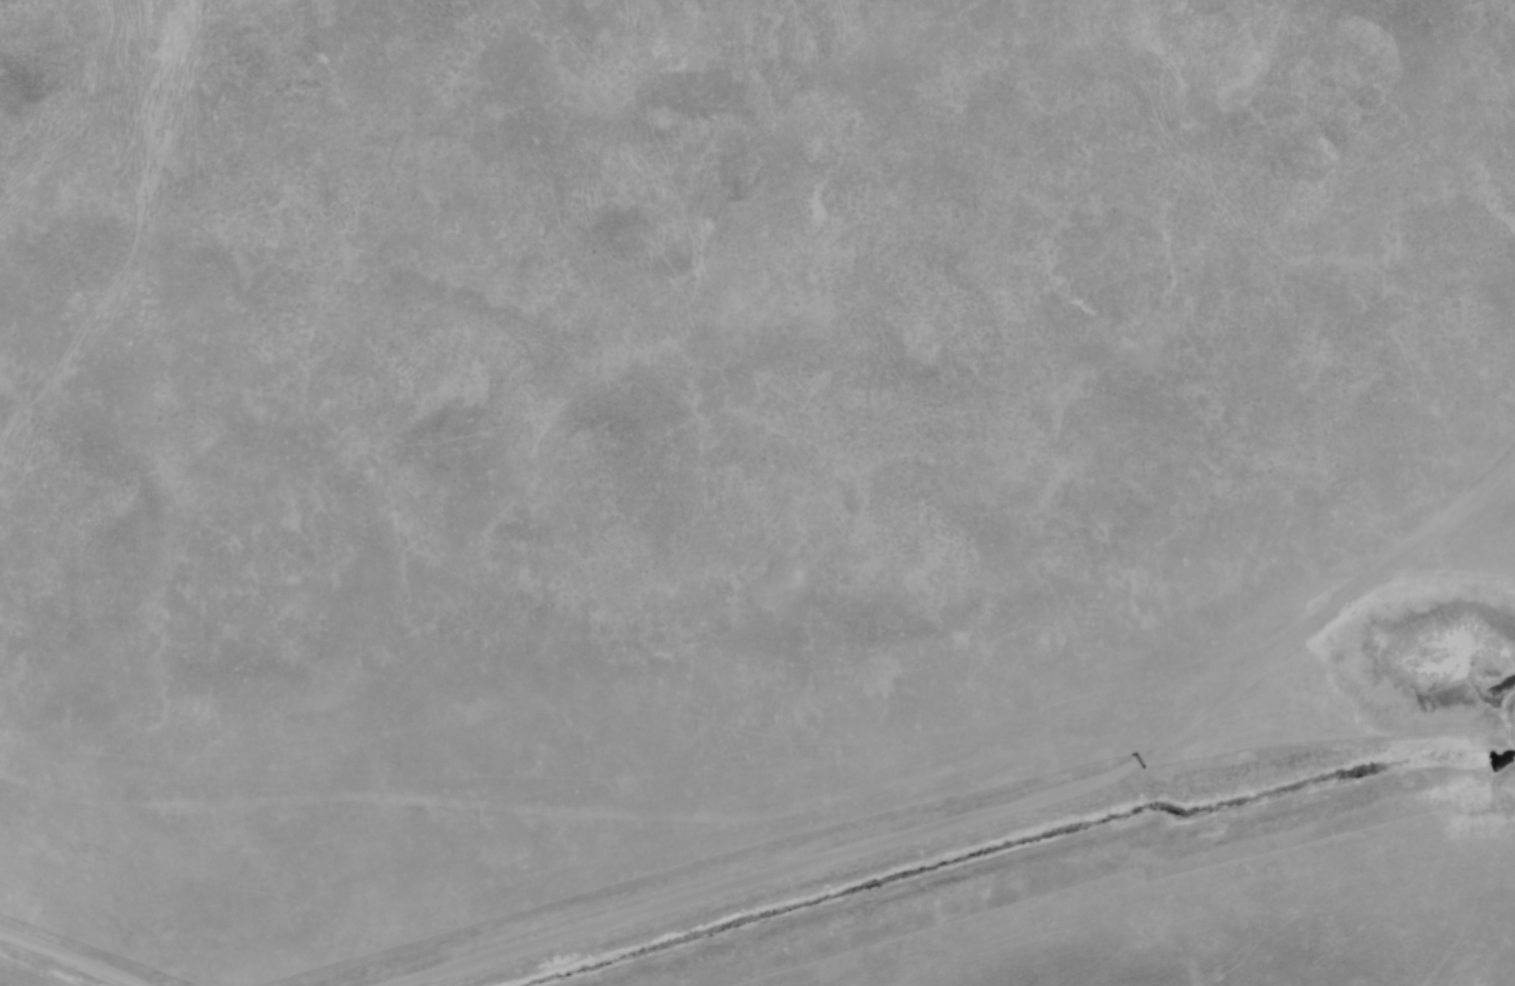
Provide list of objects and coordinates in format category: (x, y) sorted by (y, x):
road: (993, 813)
road: (65, 959)

